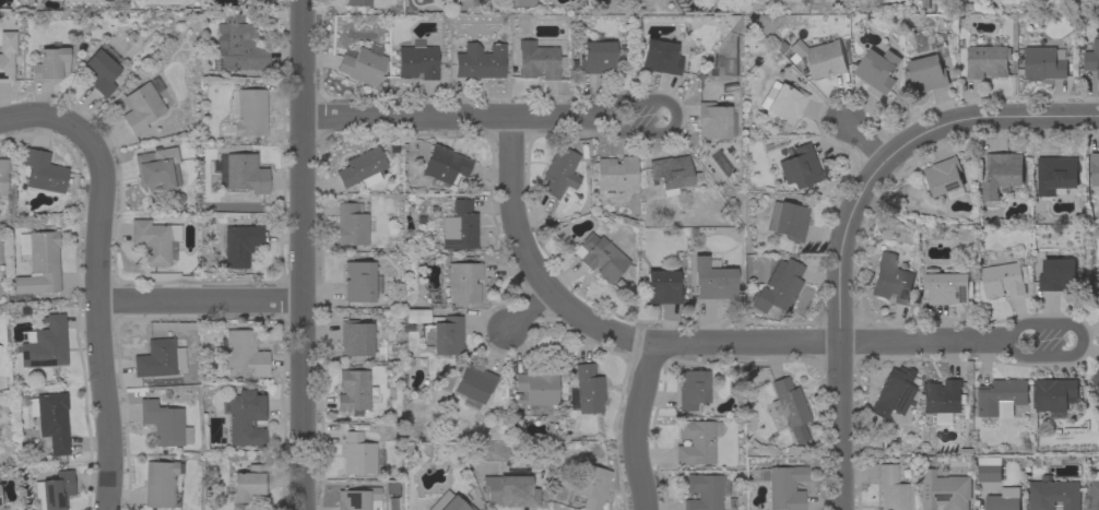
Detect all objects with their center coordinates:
building: (357, 2)
building: (238, 44)
building: (7, 55)
building: (595, 57)
building: (660, 57)
building: (818, 57)
building: (1091, 58)
building: (537, 60)
building: (416, 61)
building: (478, 61)
building: (986, 61)
building: (362, 63)
building: (1044, 63)
building: (49, 64)
building: (101, 69)
building: (877, 70)
building: (929, 71)
building: (782, 100)
building: (142, 105)
building: (246, 111)
road: (457, 117)
road: (52, 119)
road: (675, 119)
building: (712, 120)
road: (984, 121)
road: (865, 141)
building: (444, 165)
building: (802, 165)
building: (361, 166)
building: (1095, 169)
building: (559, 170)
building: (153, 171)
building: (239, 171)
building: (42, 173)
building: (615, 173)
building: (669, 173)
building: (1002, 174)
building: (2, 175)
building: (1055, 175)
building: (944, 176)
building: (787, 220)
building: (351, 224)
building: (459, 226)
building: (154, 240)
building: (234, 246)
road: (307, 254)
building: (600, 256)
building: (38, 261)
building: (1056, 275)
building: (712, 278)
building: (890, 280)
building: (359, 281)
building: (1002, 281)
building: (462, 282)
building: (662, 284)
building: (778, 286)
building: (946, 286)
building: (1095, 290)
road: (202, 301)
road: (529, 310)
building: (415, 315)
road: (98, 329)
road: (839, 330)
building: (442, 335)
building: (355, 337)
building: (46, 342)
road: (697, 344)
building: (245, 352)
building: (158, 357)
building: (1096, 378)
building: (473, 384)
building: (536, 389)
building: (693, 389)
building: (353, 390)
building: (586, 390)
building: (1054, 394)
building: (890, 396)
building: (1001, 398)
building: (941, 400)
building: (789, 408)
building: (244, 417)
building: (50, 418)
building: (164, 423)
road: (635, 426)
building: (696, 441)
building: (356, 453)
building: (989, 469)
building: (161, 483)
building: (246, 484)
building: (589, 486)
building: (782, 486)
building: (890, 488)
building: (52, 490)
building: (509, 490)
building: (702, 491)
building: (1094, 491)
building: (940, 493)
building: (1053, 494)
building: (356, 498)
building: (1003, 499)
building: (0, 500)
building: (448, 502)
building: (1, 508)

